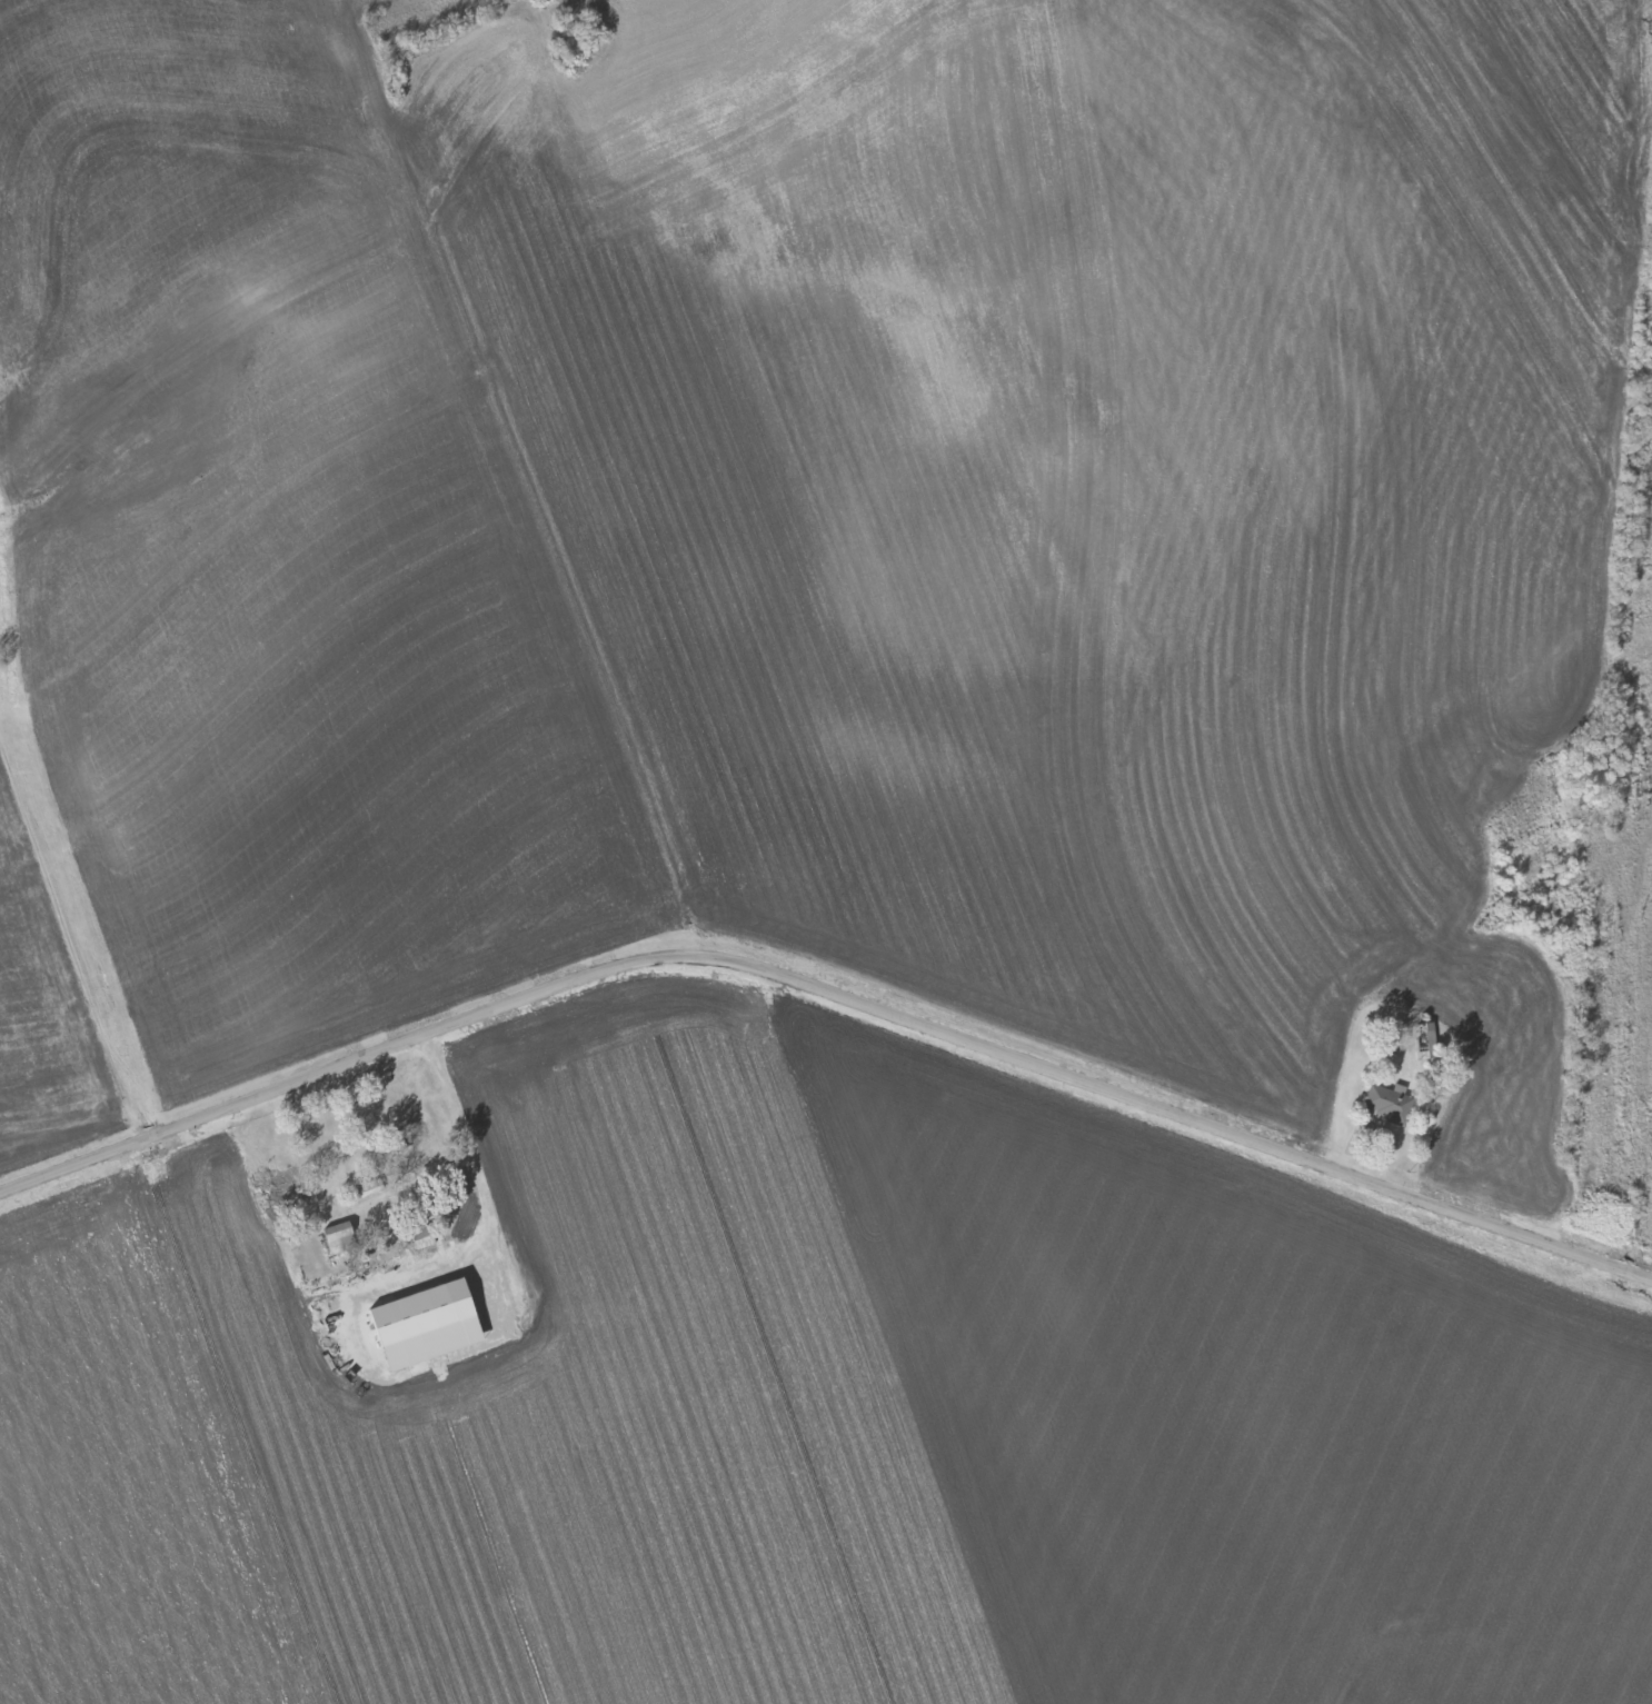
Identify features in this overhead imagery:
road: (827, 991)
building: (496, 1052)
building: (1386, 1103)
building: (336, 1236)
building: (426, 1325)

